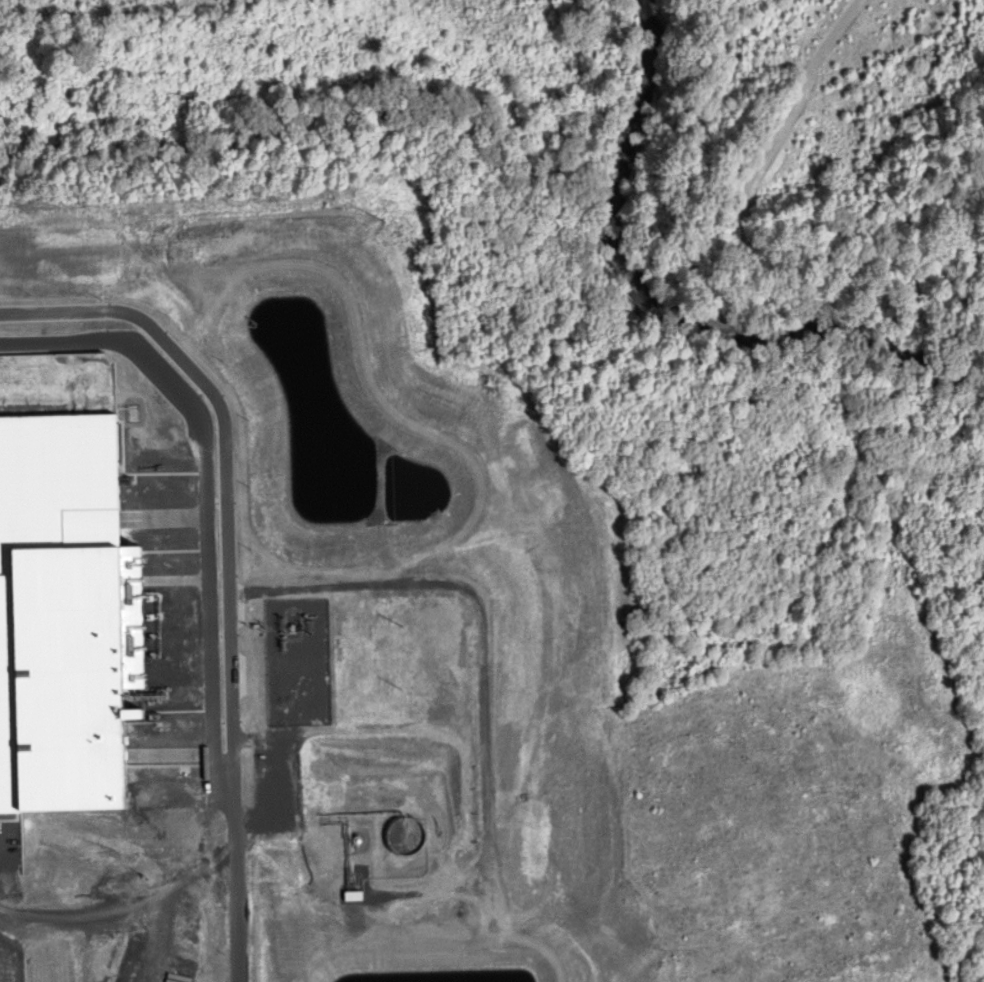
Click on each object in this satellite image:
road: (225, 566)
road: (121, 908)

